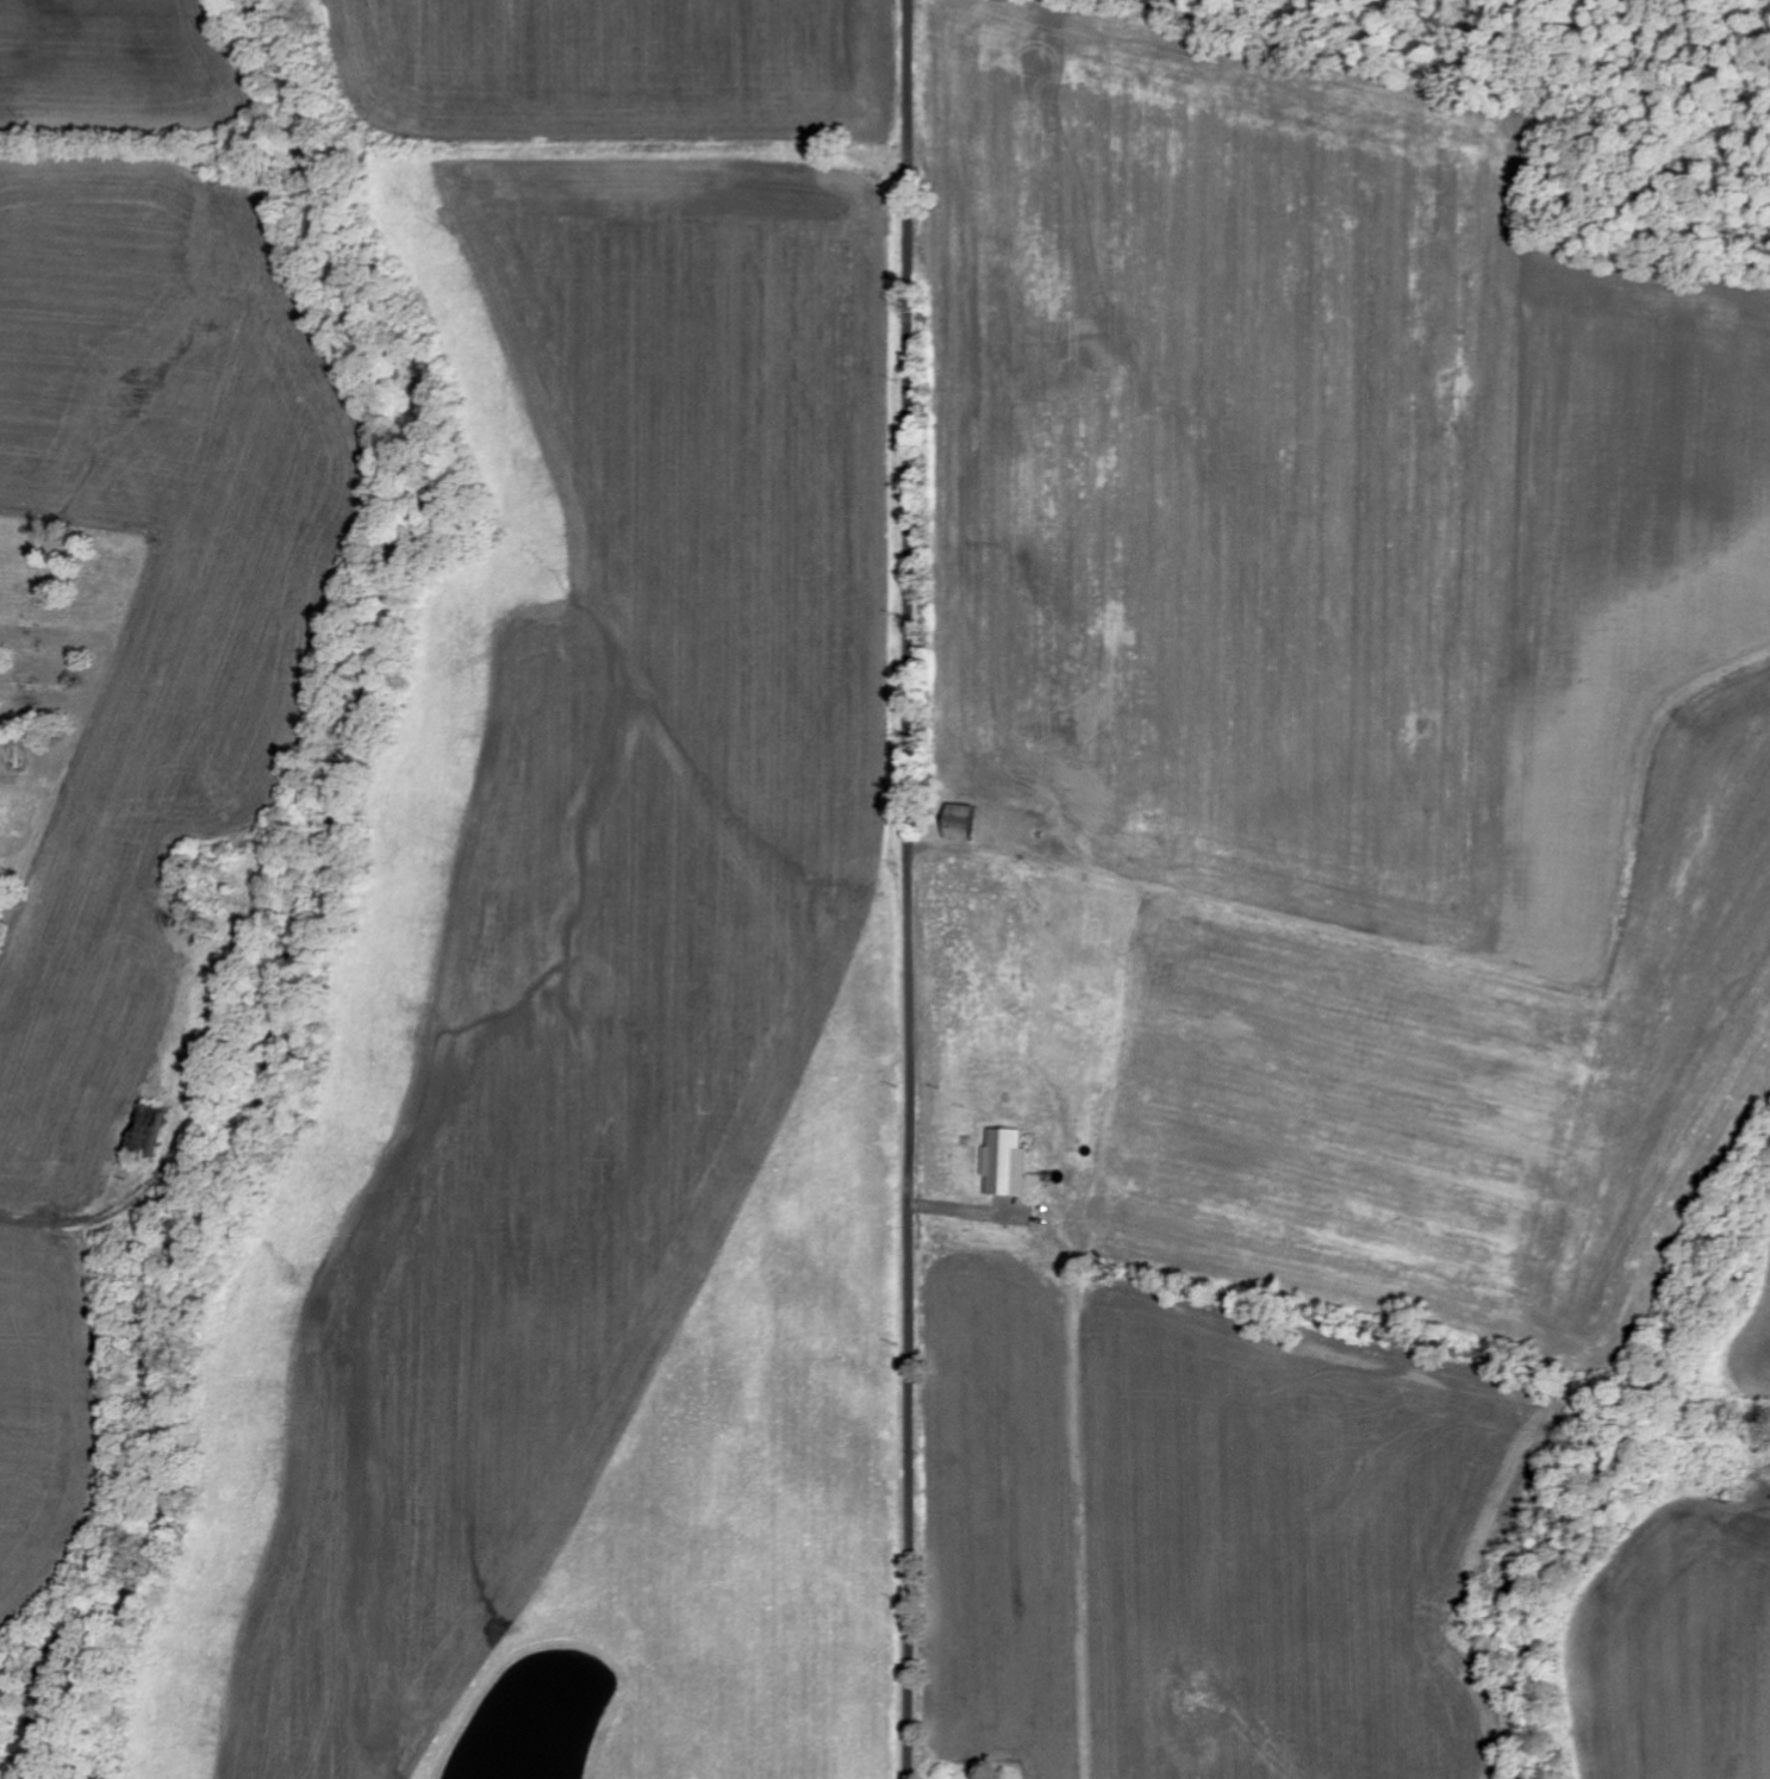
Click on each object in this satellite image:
building: (959, 823)
road: (909, 889)
building: (147, 1131)
building: (1005, 1163)

